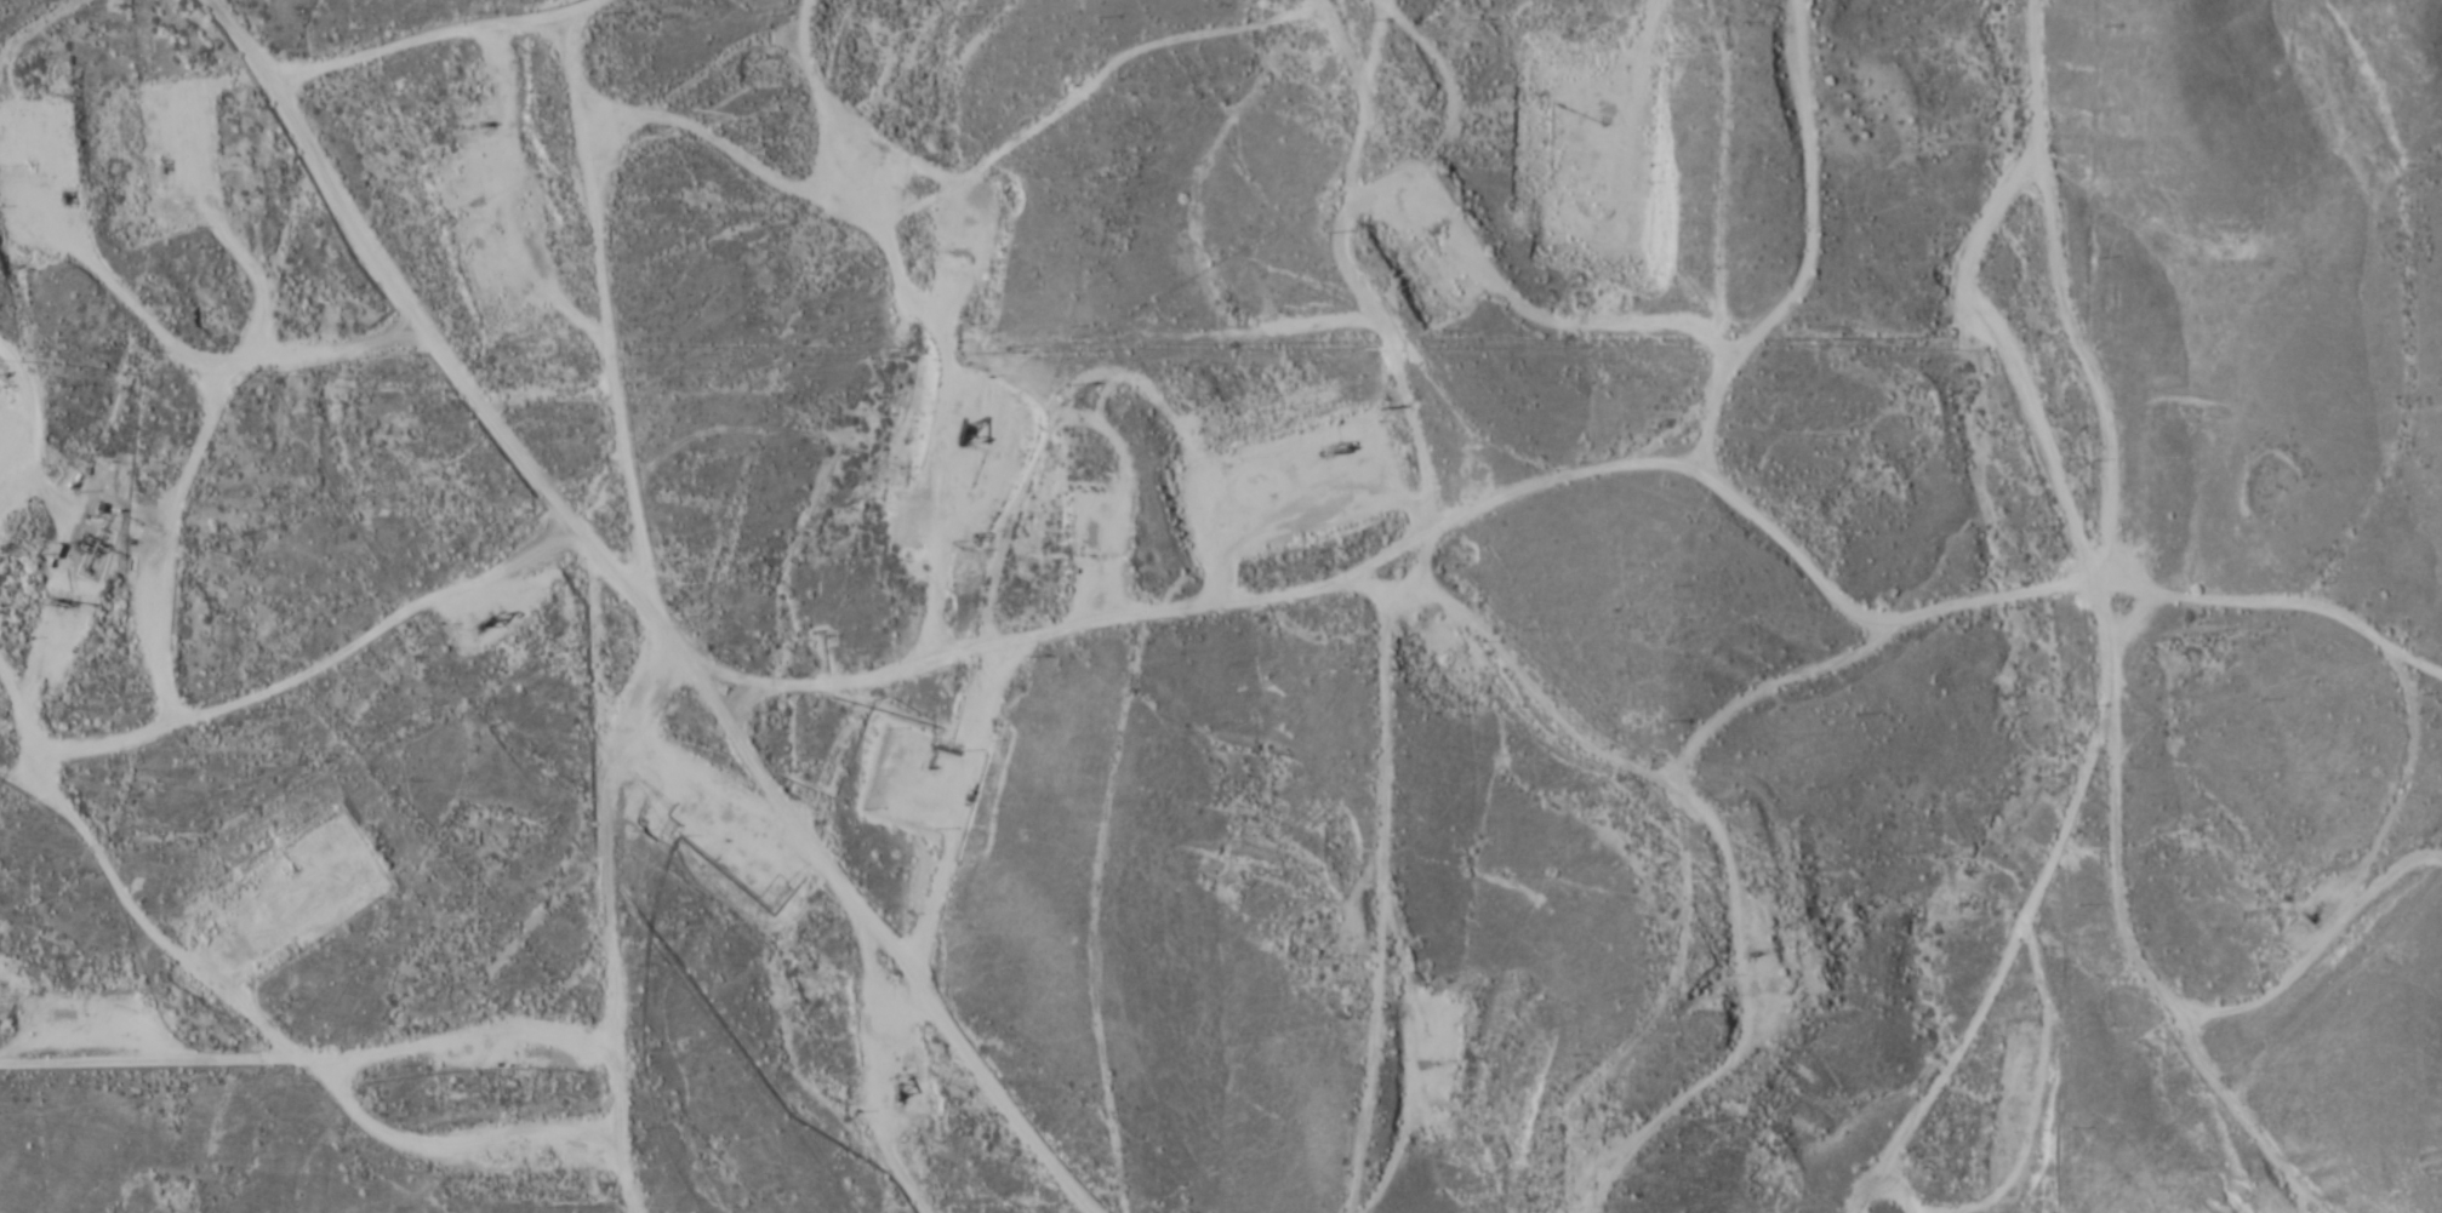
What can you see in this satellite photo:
road: (592, 612)

